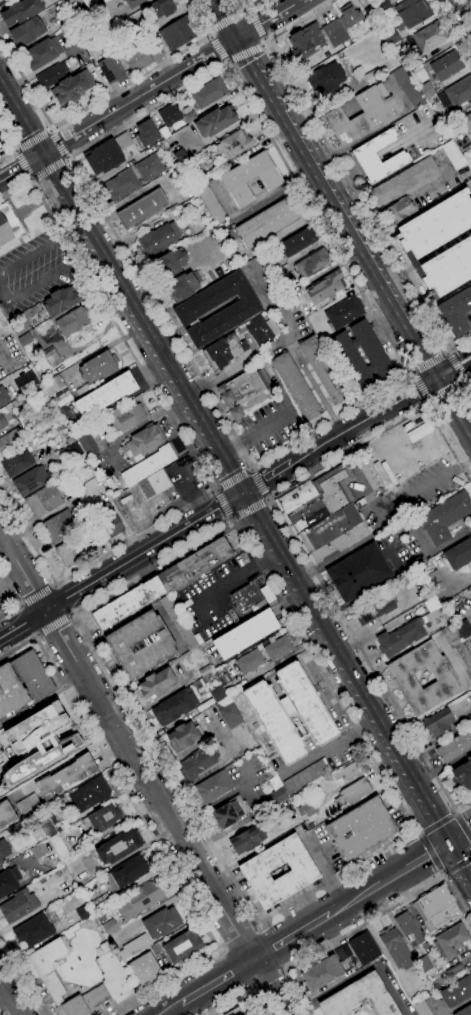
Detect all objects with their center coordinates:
building: (252, 0)
building: (254, 0)
building: (3, 1)
building: (89, 3)
building: (133, 3)
road: (230, 5)
road: (252, 8)
building: (160, 9)
road: (465, 10)
building: (21, 12)
road: (246, 12)
road: (250, 12)
building: (412, 12)
building: (371, 13)
building: (348, 16)
road: (220, 20)
road: (226, 21)
road: (256, 25)
road: (453, 29)
building: (27, 32)
road: (209, 32)
road: (247, 32)
building: (178, 33)
traffic signals: (248, 33)
building: (334, 33)
road: (208, 36)
building: (390, 37)
building: (426, 39)
road: (263, 40)
traffic signals: (232, 42)
building: (305, 42)
road: (263, 44)
road: (218, 49)
building: (88, 50)
building: (42, 53)
road: (243, 53)
road: (241, 57)
building: (137, 59)
road: (226, 62)
building: (446, 66)
building: (111, 70)
road: (272, 73)
building: (51, 75)
building: (371, 77)
building: (325, 80)
building: (72, 88)
building: (407, 88)
road: (150, 89)
road: (268, 90)
building: (426, 91)
building: (208, 93)
building: (456, 93)
road: (295, 94)
road: (103, 96)
road: (12, 100)
building: (169, 115)
building: (362, 115)
building: (189, 117)
building: (215, 121)
building: (467, 122)
road: (10, 127)
road: (49, 129)
building: (164, 132)
building: (146, 133)
road: (33, 137)
road: (31, 140)
road: (403, 142)
road: (57, 144)
building: (125, 144)
building: (234, 144)
building: (464, 144)
road: (9, 146)
building: (0, 149)
road: (13, 151)
traffic signals: (43, 154)
building: (364, 155)
building: (453, 155)
building: (179, 156)
road: (67, 157)
building: (103, 157)
road: (11, 159)
road: (26, 160)
traffic signals: (28, 163)
road: (370, 164)
road: (22, 165)
road: (47, 168)
building: (149, 168)
building: (250, 178)
road: (347, 179)
road: (30, 181)
building: (402, 181)
building: (121, 186)
road: (334, 191)
road: (397, 198)
road: (53, 204)
building: (211, 205)
building: (142, 209)
building: (400, 210)
road: (75, 220)
building: (271, 223)
building: (8, 224)
road: (342, 226)
building: (158, 240)
building: (299, 241)
building: (440, 243)
building: (170, 263)
building: (311, 263)
parking lot: (33, 269)
building: (260, 269)
building: (182, 287)
building: (325, 289)
road: (2, 293)
road: (414, 295)
road: (390, 296)
building: (59, 301)
road: (133, 307)
building: (242, 309)
building: (344, 312)
building: (456, 312)
road: (417, 318)
building: (72, 321)
building: (4, 327)
building: (262, 330)
road: (135, 335)
road: (0, 341)
building: (354, 343)
building: (25, 344)
building: (268, 350)
building: (371, 350)
building: (223, 351)
road: (446, 352)
road: (459, 355)
building: (352, 362)
road: (429, 363)
road: (454, 365)
building: (98, 367)
road: (463, 367)
building: (369, 369)
building: (323, 370)
road: (448, 371)
traffic signals: (448, 371)
road: (411, 372)
road: (444, 373)
building: (263, 379)
road: (464, 379)
traffic signals: (434, 380)
building: (24, 381)
road: (467, 381)
road: (421, 386)
building: (296, 387)
road: (445, 389)
road: (315, 390)
building: (58, 391)
building: (243, 393)
building: (105, 395)
road: (443, 395)
building: (3, 397)
road: (465, 400)
road: (429, 402)
building: (124, 418)
building: (3, 419)
road: (361, 420)
parking lot: (269, 424)
road: (135, 426)
road: (461, 427)
road: (255, 433)
road: (468, 435)
building: (86, 442)
road: (206, 442)
building: (9, 443)
building: (142, 443)
road: (186, 444)
building: (47, 455)
road: (205, 461)
building: (16, 463)
building: (148, 466)
road: (252, 466)
road: (250, 468)
road: (358, 473)
building: (81, 475)
road: (234, 475)
road: (266, 476)
road: (232, 480)
building: (30, 481)
building: (153, 484)
road: (257, 484)
building: (63, 485)
building: (334, 487)
road: (424, 487)
road: (214, 490)
traffic signals: (243, 491)
parking lot: (412, 493)
road: (227, 499)
road: (266, 500)
building: (42, 501)
traffic signals: (228, 501)
road: (221, 504)
building: (301, 506)
road: (246, 508)
building: (443, 517)
road: (229, 520)
building: (106, 522)
building: (58, 527)
building: (333, 533)
road: (252, 540)
road: (295, 546)
road: (271, 549)
road: (436, 549)
building: (73, 551)
building: (457, 556)
road: (121, 565)
building: (194, 565)
building: (358, 573)
road: (52, 584)
road: (228, 584)
road: (56, 585)
building: (437, 586)
road: (9, 591)
road: (35, 594)
parking lot: (213, 595)
building: (246, 597)
road: (65, 598)
building: (128, 603)
road: (19, 605)
road: (19, 608)
building: (371, 610)
road: (74, 611)
road: (9, 613)
road: (72, 616)
road: (26, 620)
building: (178, 622)
road: (54, 626)
road: (34, 634)
building: (245, 634)
road: (38, 636)
building: (198, 638)
building: (400, 638)
building: (140, 645)
road: (334, 647)
building: (277, 648)
building: (457, 649)
building: (249, 662)
road: (335, 669)
building: (205, 670)
building: (35, 677)
building: (402, 677)
building: (155, 683)
building: (200, 687)
building: (217, 694)
road: (328, 697)
building: (174, 707)
building: (470, 710)
building: (228, 713)
building: (290, 713)
building: (469, 714)
building: (467, 720)
building: (438, 723)
road: (358, 731)
building: (185, 736)
building: (39, 742)
building: (455, 747)
road: (317, 754)
building: (197, 763)
road: (142, 773)
building: (346, 773)
building: (463, 774)
building: (305, 776)
building: (66, 777)
road: (408, 782)
building: (215, 784)
building: (277, 791)
building: (353, 793)
building: (89, 794)
building: (27, 804)
road: (408, 804)
building: (307, 809)
road: (451, 811)
building: (229, 812)
building: (6, 813)
building: (100, 820)
road: (438, 822)
road: (435, 824)
building: (48, 826)
building: (360, 828)
road: (148, 830)
road: (461, 831)
road: (417, 833)
road: (460, 835)
building: (247, 840)
traffic signals: (450, 842)
building: (59, 847)
building: (118, 847)
building: (4, 849)
road: (435, 849)
building: (38, 851)
traffic signals: (436, 851)
road: (430, 853)
road: (460, 859)
building: (0, 862)
road: (456, 863)
road: (322, 866)
building: (254, 871)
building: (125, 873)
road: (397, 873)
road: (442, 873)
building: (8, 881)
road: (460, 891)
road: (456, 899)
building: (139, 900)
building: (18, 906)
building: (435, 907)
road: (337, 909)
building: (83, 913)
building: (161, 923)
road: (260, 925)
road: (254, 926)
building: (109, 927)
building: (408, 929)
building: (33, 930)
road: (237, 935)
road: (291, 937)
road: (340, 937)
building: (450, 941)
road: (219, 946)
building: (134, 947)
building: (181, 947)
building: (363, 948)
building: (395, 948)
building: (155, 949)
building: (342, 953)
building: (423, 964)
building: (145, 970)
building: (454, 972)
building: (321, 973)
road: (360, 973)
road: (281, 974)
road: (23, 975)
building: (114, 976)
road: (217, 981)
road: (265, 984)
building: (456, 991)
road: (248, 995)
road: (10, 997)
building: (359, 997)
road: (239, 1000)
road: (5, 1001)
road: (458, 1006)
road: (189, 1008)
building: (421, 1008)
road: (171, 1009)
building: (240, 1010)
building: (465, 1011)

